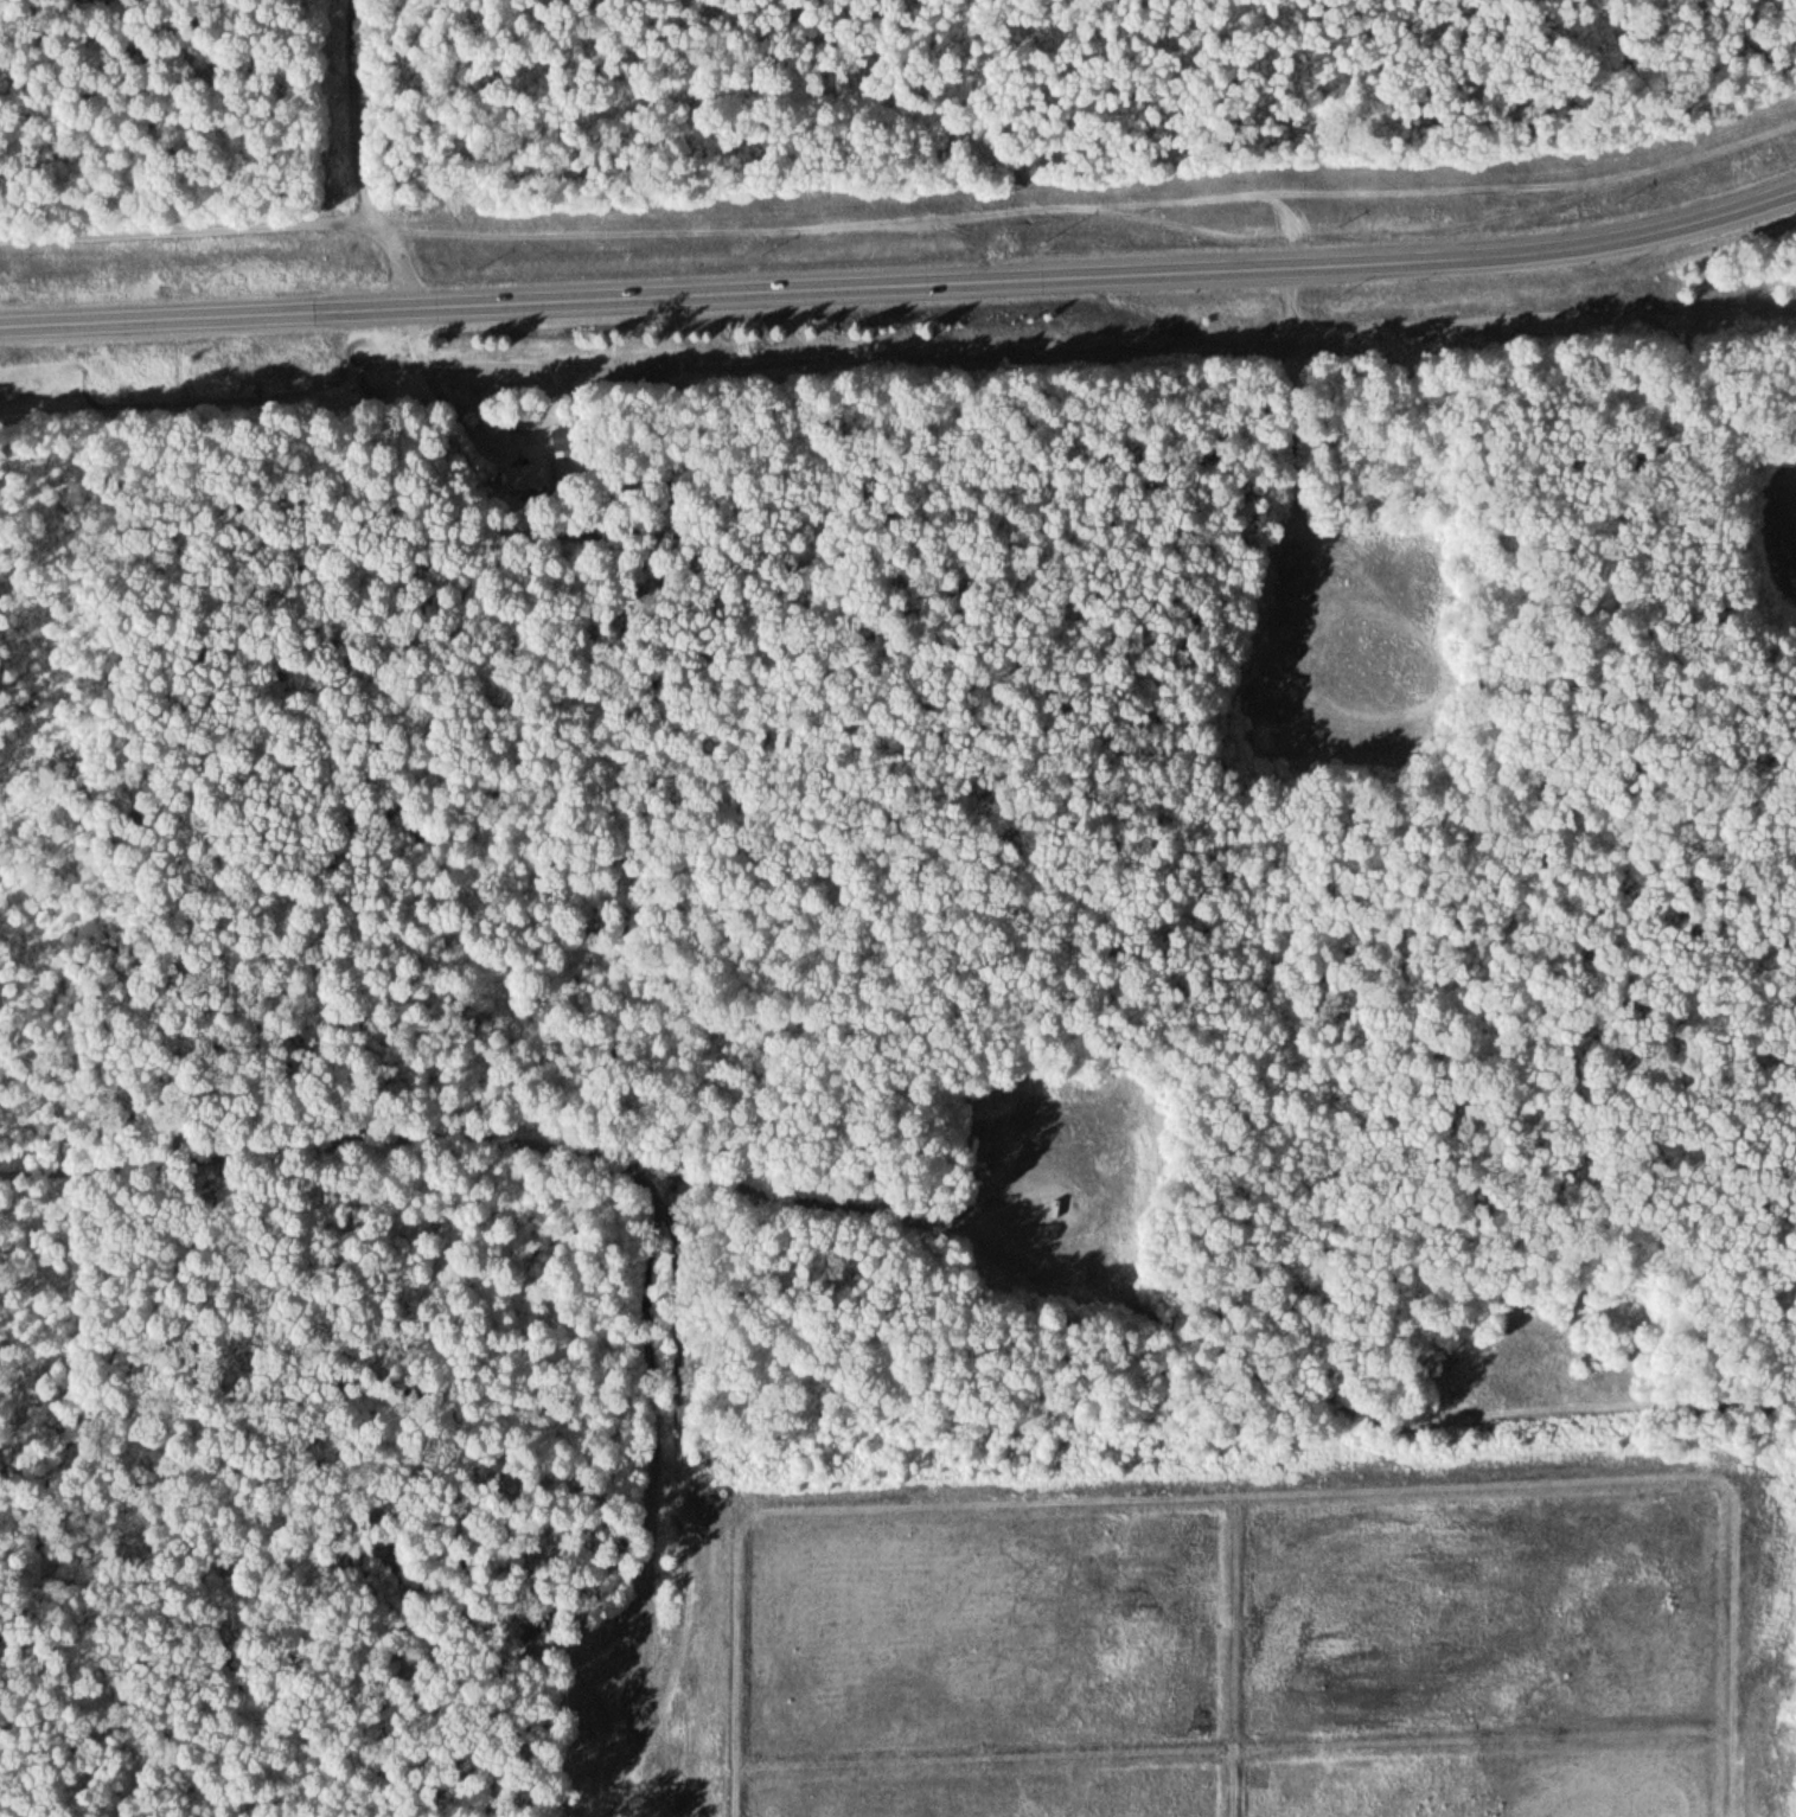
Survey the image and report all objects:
road: (364, 162)
road: (188, 226)
road: (902, 292)
building: (522, 474)
road: (716, 1163)
road: (1592, 1412)

